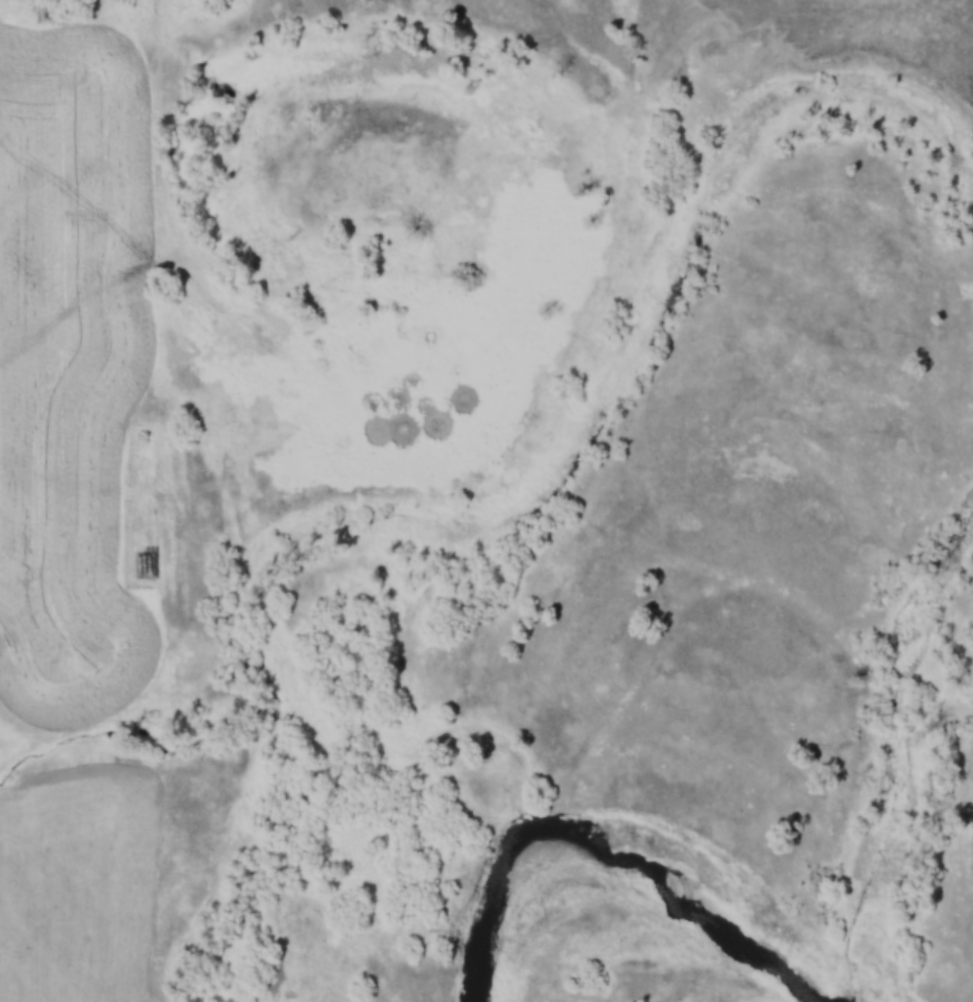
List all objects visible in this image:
river: (607, 847)

